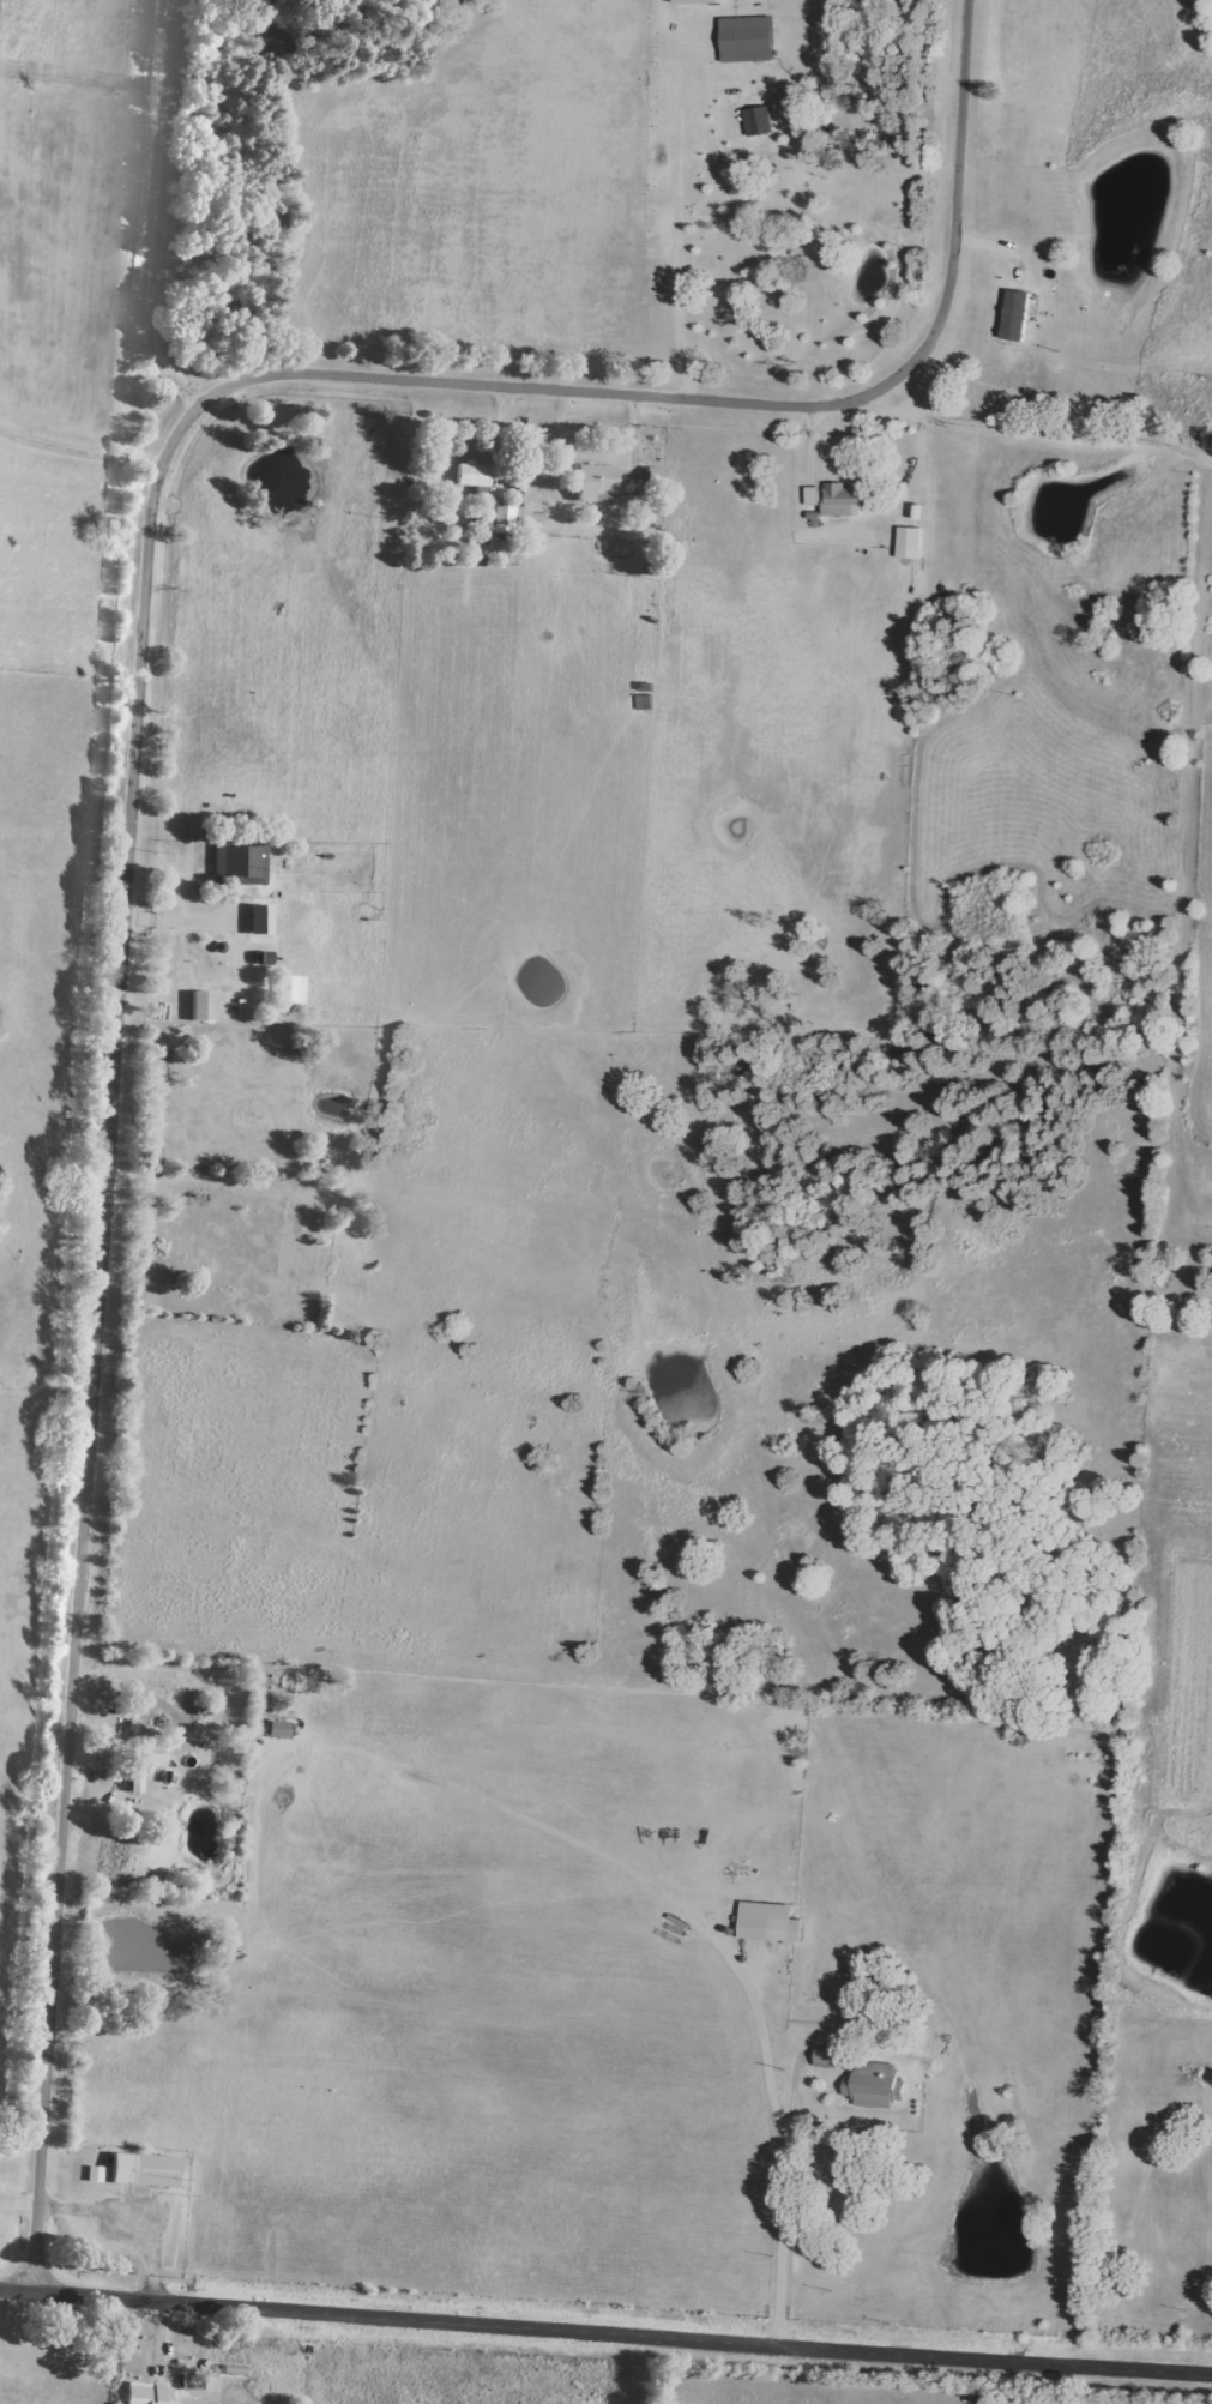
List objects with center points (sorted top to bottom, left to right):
building: (697, 1)
building: (747, 38)
building: (758, 121)
road: (175, 209)
building: (1014, 314)
road: (2, 434)
road: (82, 453)
road: (1206, 457)
building: (470, 475)
building: (593, 483)
building: (813, 496)
building: (843, 500)
building: (500, 519)
building: (909, 542)
road: (1196, 664)
road: (137, 773)
building: (236, 864)
building: (258, 920)
road: (181, 928)
building: (260, 958)
building: (200, 1007)
building: (287, 1012)
building: (276, 1730)
building: (153, 1761)
building: (134, 1781)
building: (770, 1922)
road: (770, 2040)
building: (828, 2056)
building: (875, 2085)
building: (141, 2170)
building: (92, 2174)
road: (791, 2206)
road: (605, 2334)
road: (180, 2370)
building: (186, 2382)
building: (207, 2384)
building: (145, 2393)

